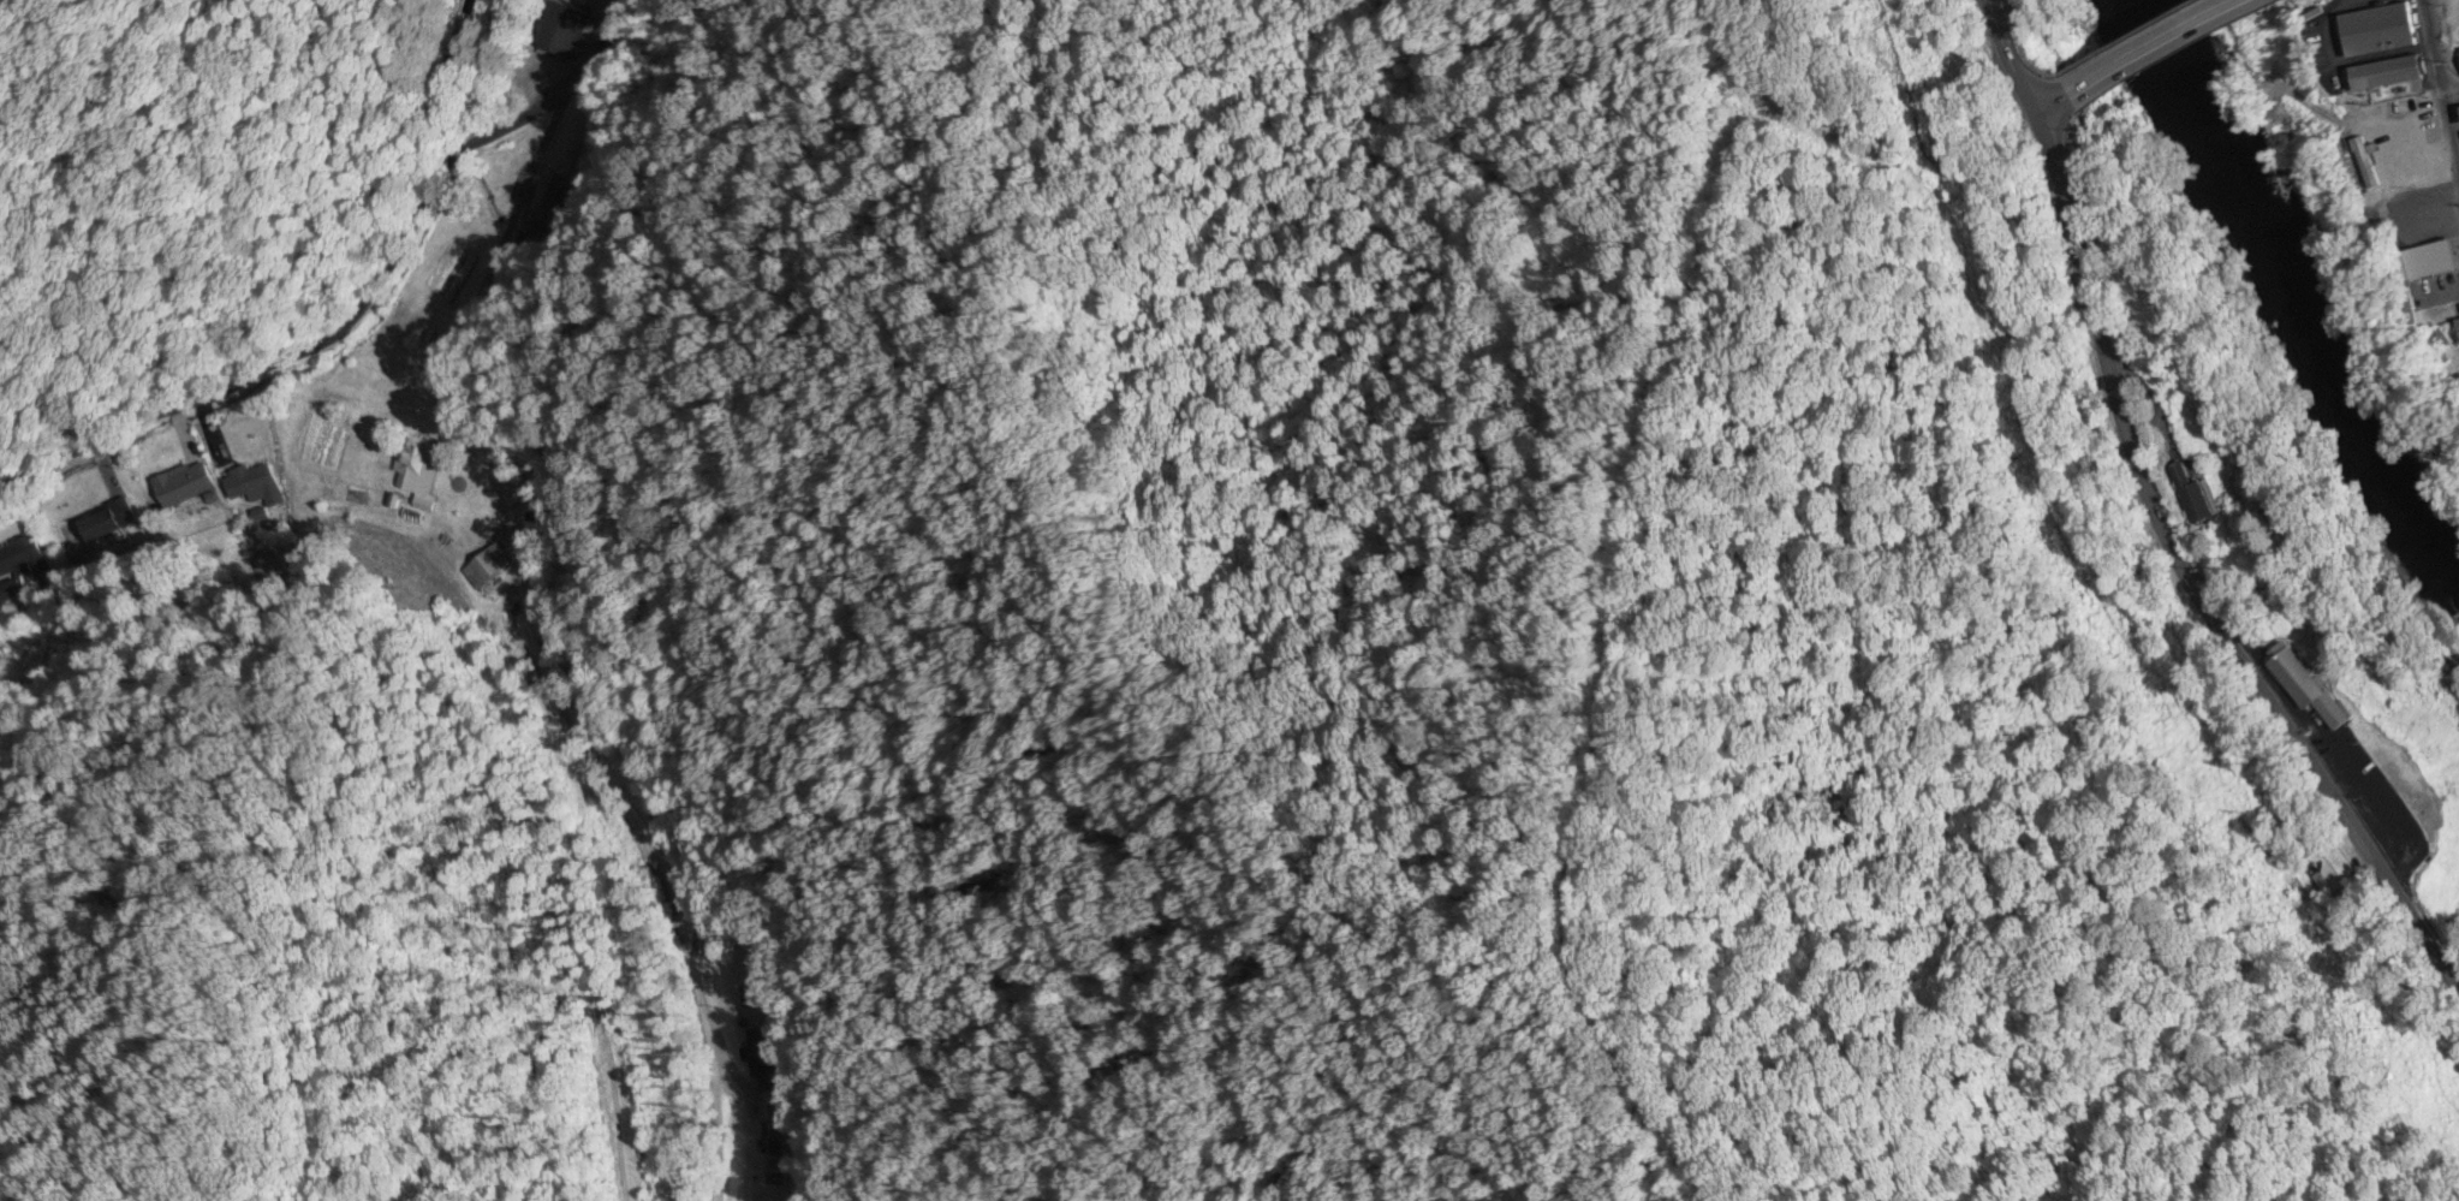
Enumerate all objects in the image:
road: (2209, 24)
building: (565, 31)
building: (2377, 31)
road: (2445, 54)
road: (2017, 59)
road: (2122, 70)
building: (2386, 75)
road: (2435, 81)
road: (2058, 105)
building: (2352, 163)
building: (544, 197)
building: (2428, 262)
river: (2311, 274)
road: (361, 302)
building: (2458, 322)
building: (180, 486)
building: (251, 487)
building: (2192, 492)
building: (102, 525)
building: (23, 563)
building: (480, 572)
road: (2187, 582)
road: (507, 643)
building: (758, 1051)
building: (770, 1131)

